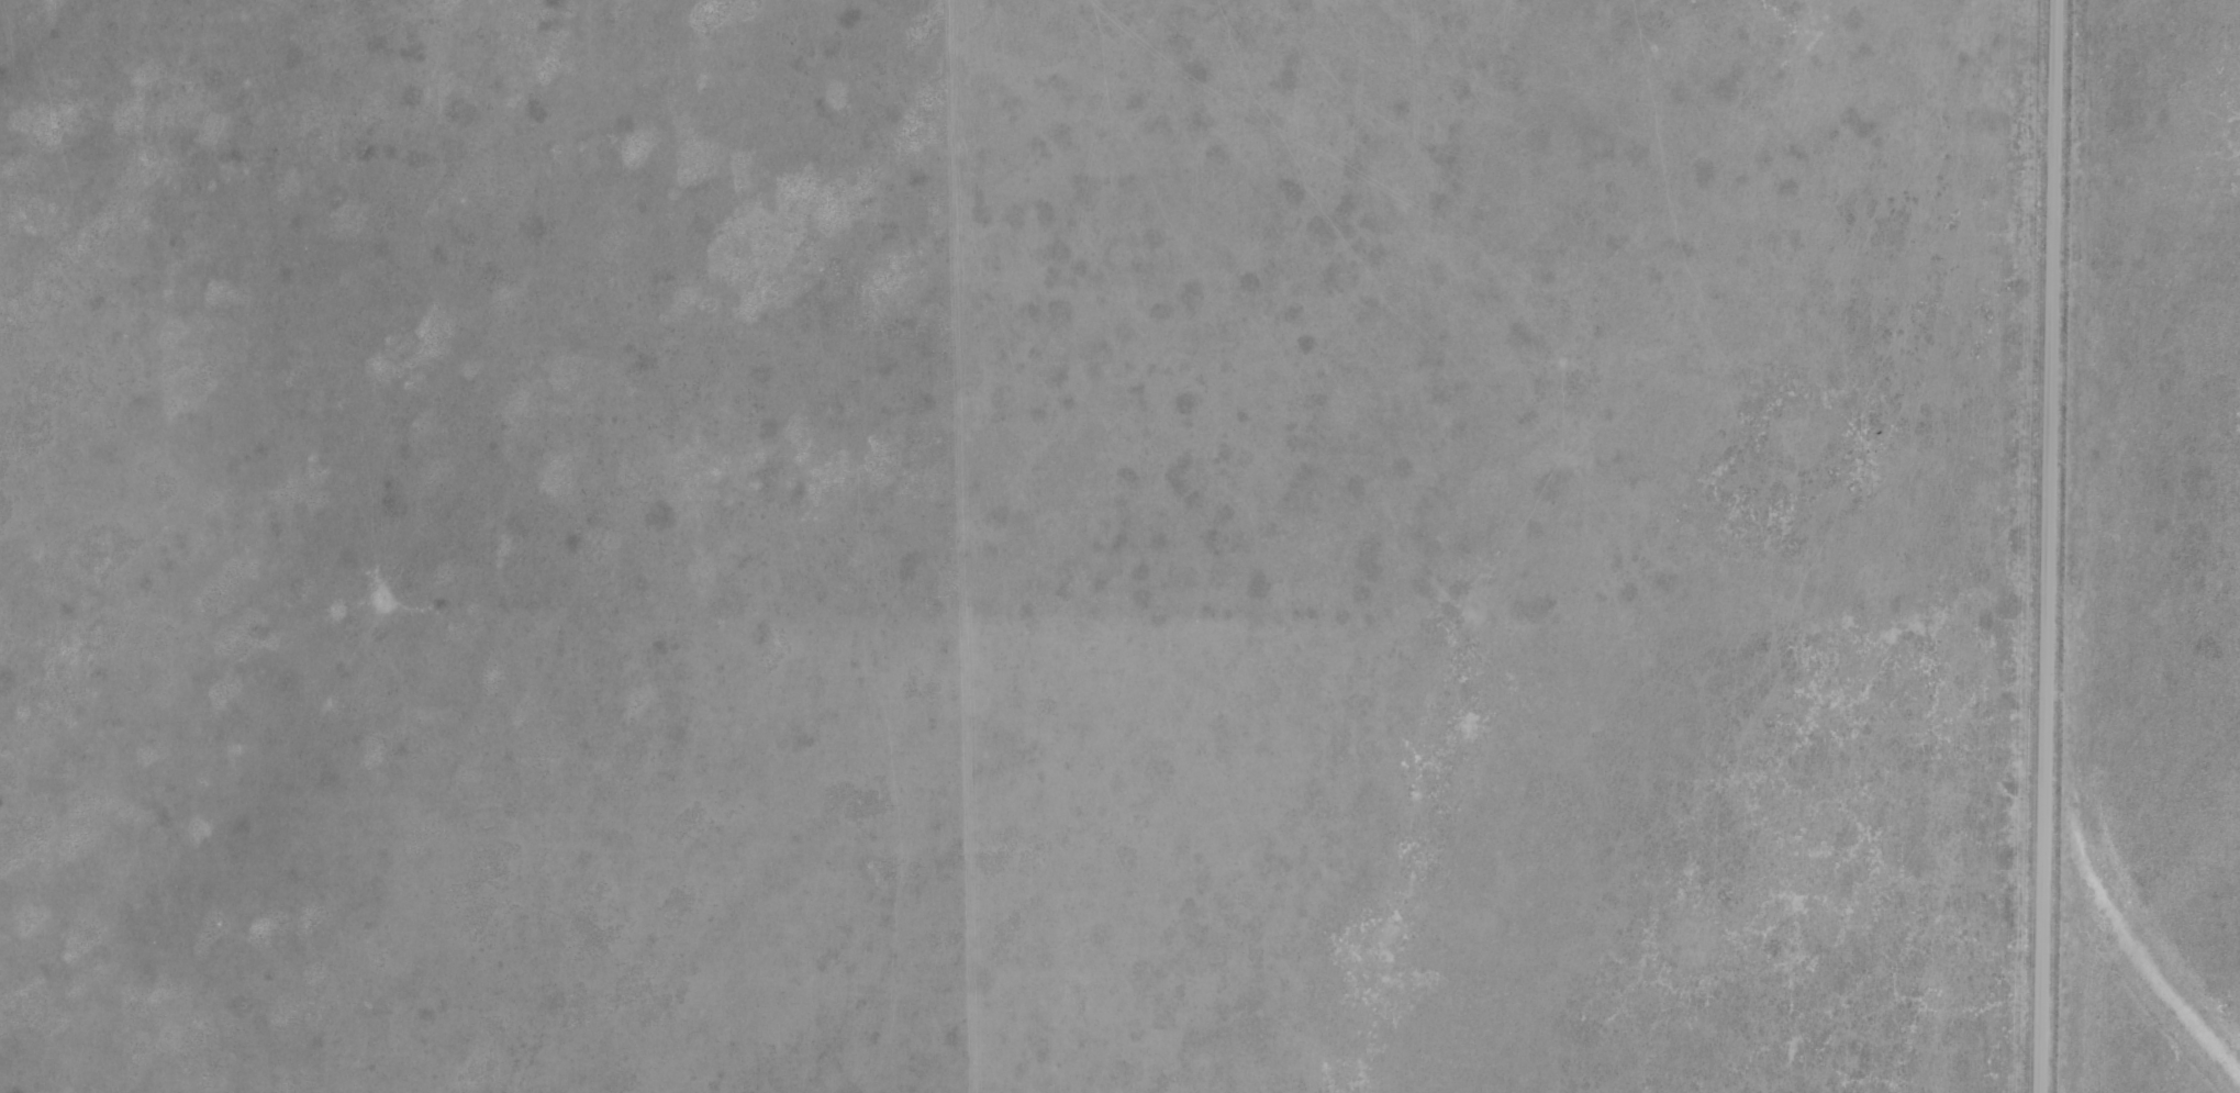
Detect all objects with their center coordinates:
road: (2051, 546)

